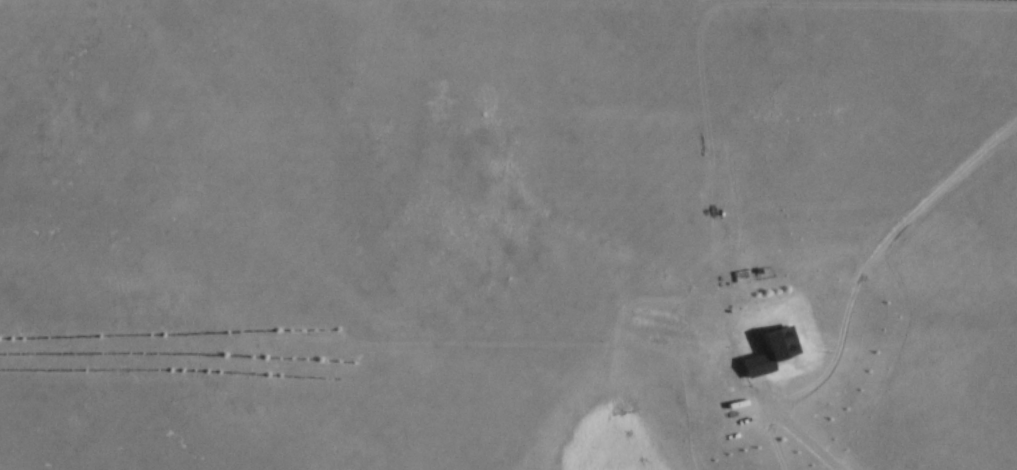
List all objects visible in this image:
building: (771, 345)
road: (793, 426)

